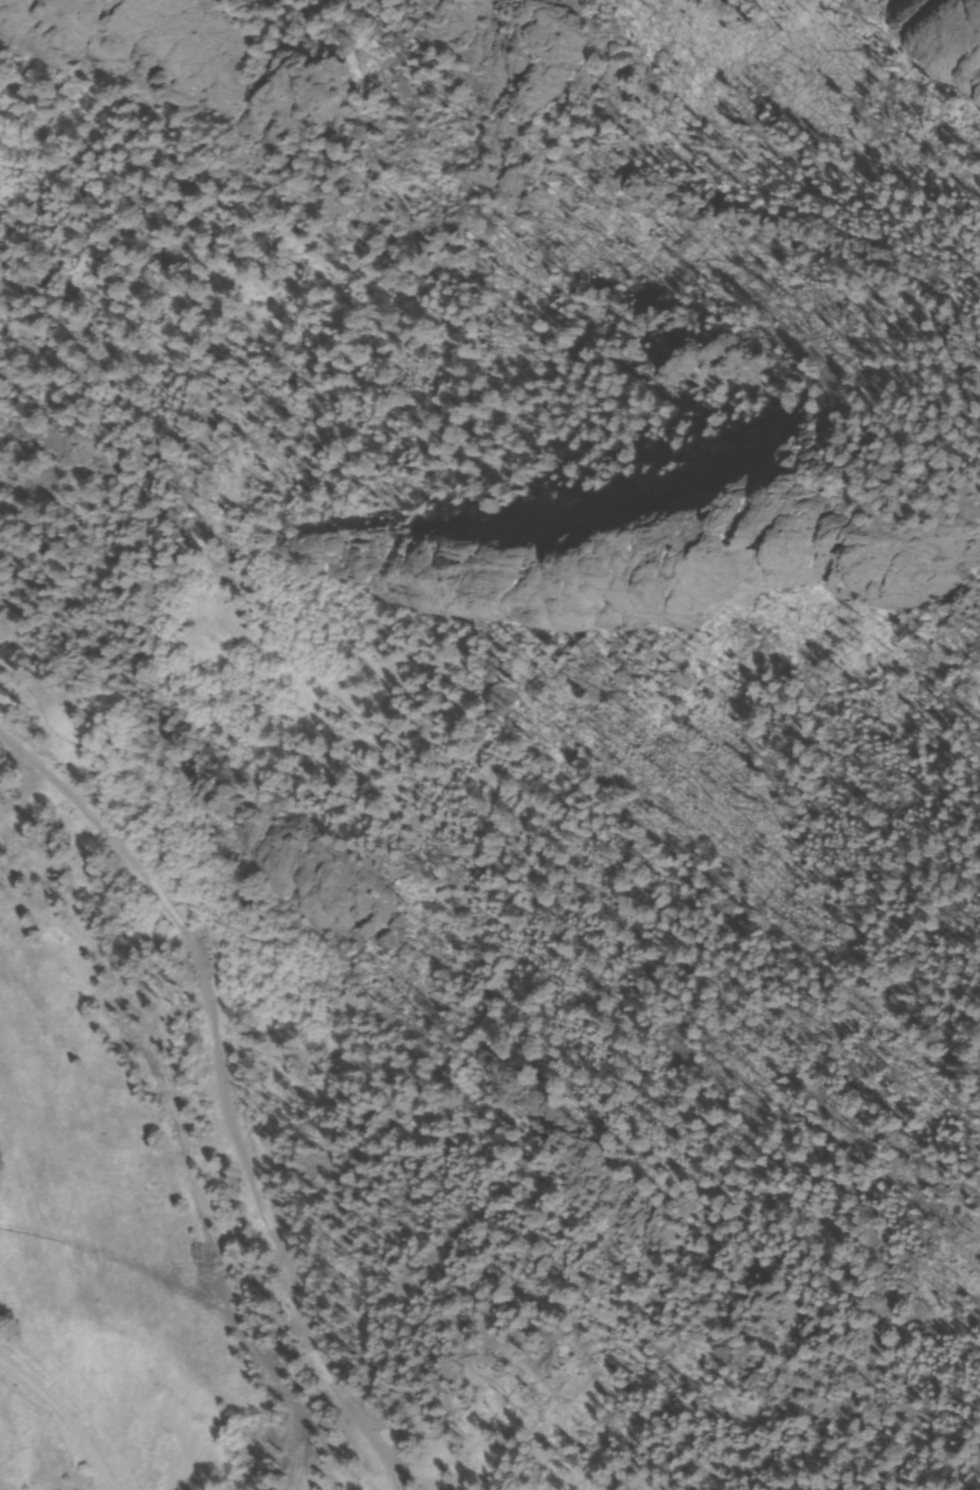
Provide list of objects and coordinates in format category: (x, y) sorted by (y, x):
road: (65, 1418)

